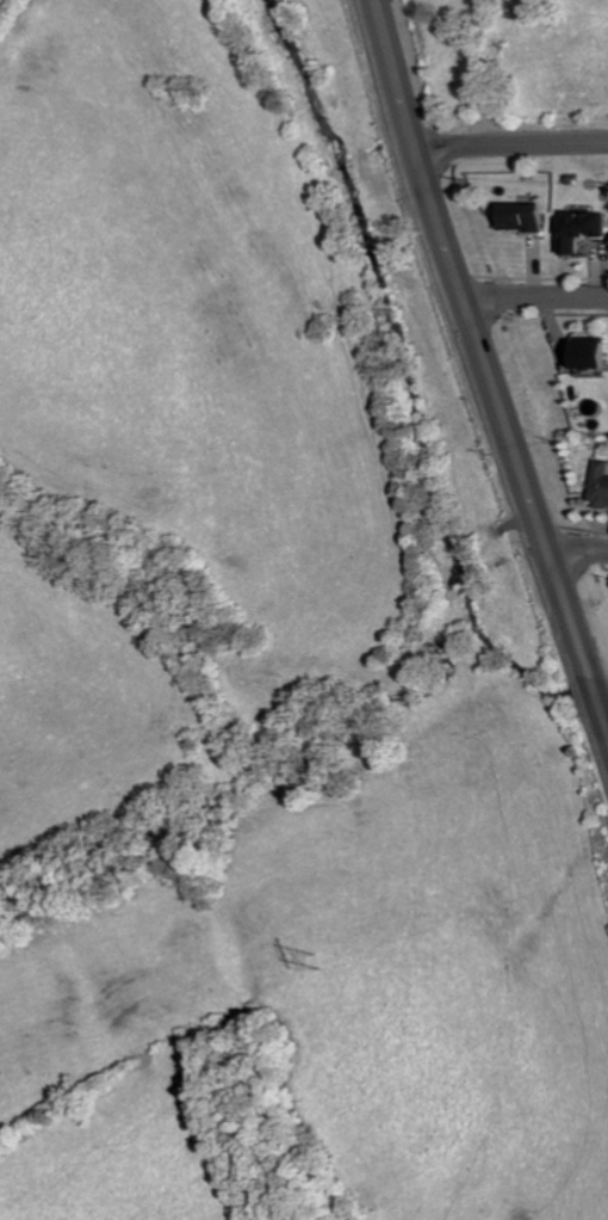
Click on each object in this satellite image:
road: (516, 144)
building: (528, 217)
building: (584, 230)
road: (535, 300)
building: (595, 353)
road: (484, 361)
building: (602, 482)
road: (581, 555)

